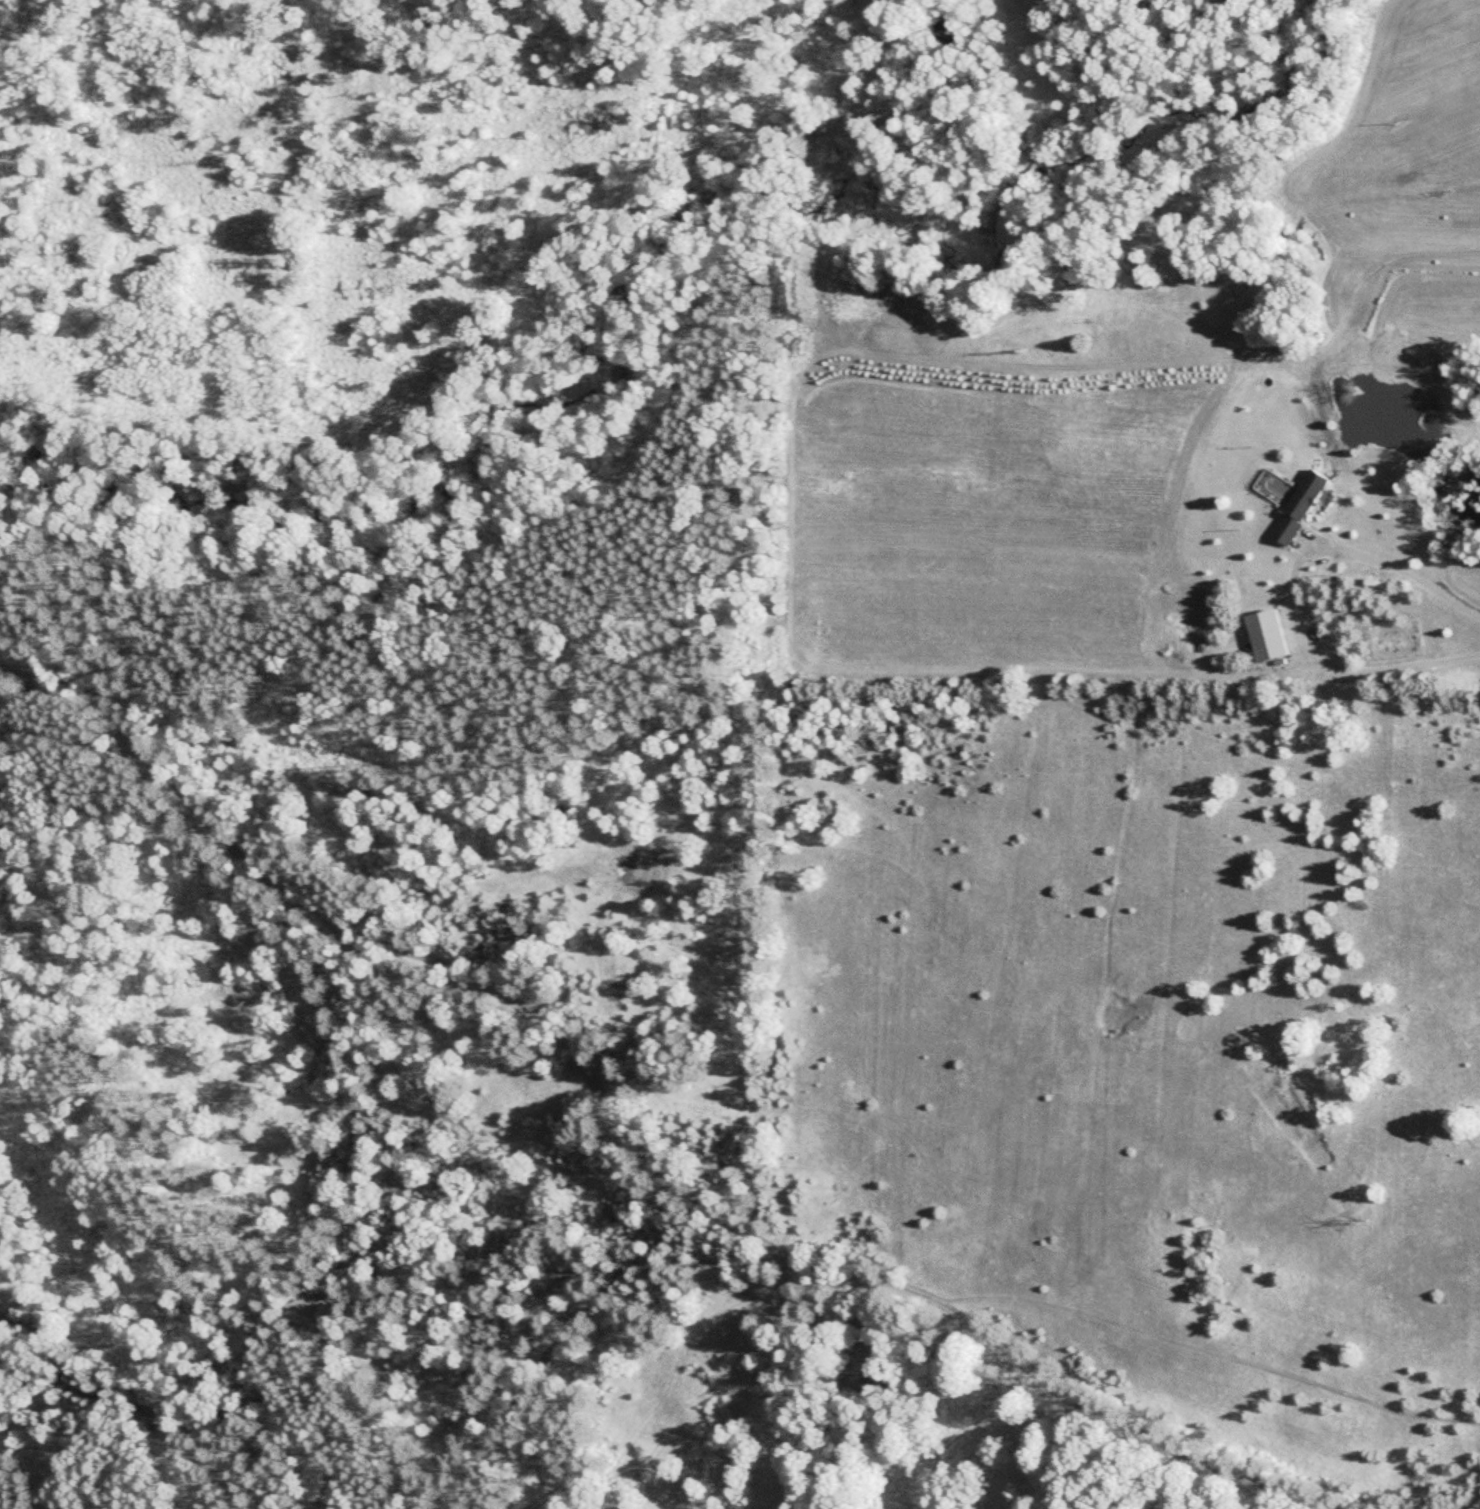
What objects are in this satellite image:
building: (1076, 264)
building: (1156, 282)
building: (1304, 507)
road: (1292, 592)
building: (1272, 635)
road: (77, 738)
road: (632, 1125)
road: (564, 1274)
road: (318, 1305)
road: (530, 1382)

